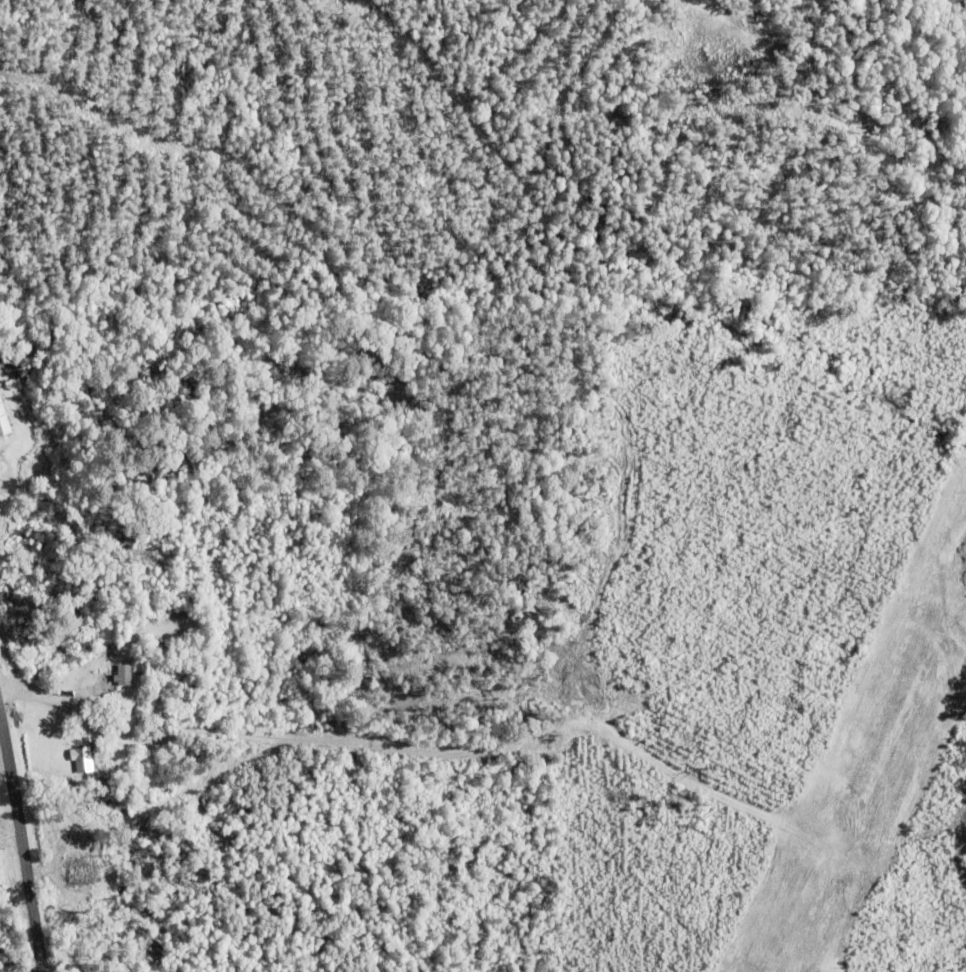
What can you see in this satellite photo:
building: (3, 421)
building: (119, 672)
road: (409, 745)
building: (79, 758)
road: (20, 851)
building: (76, 869)

